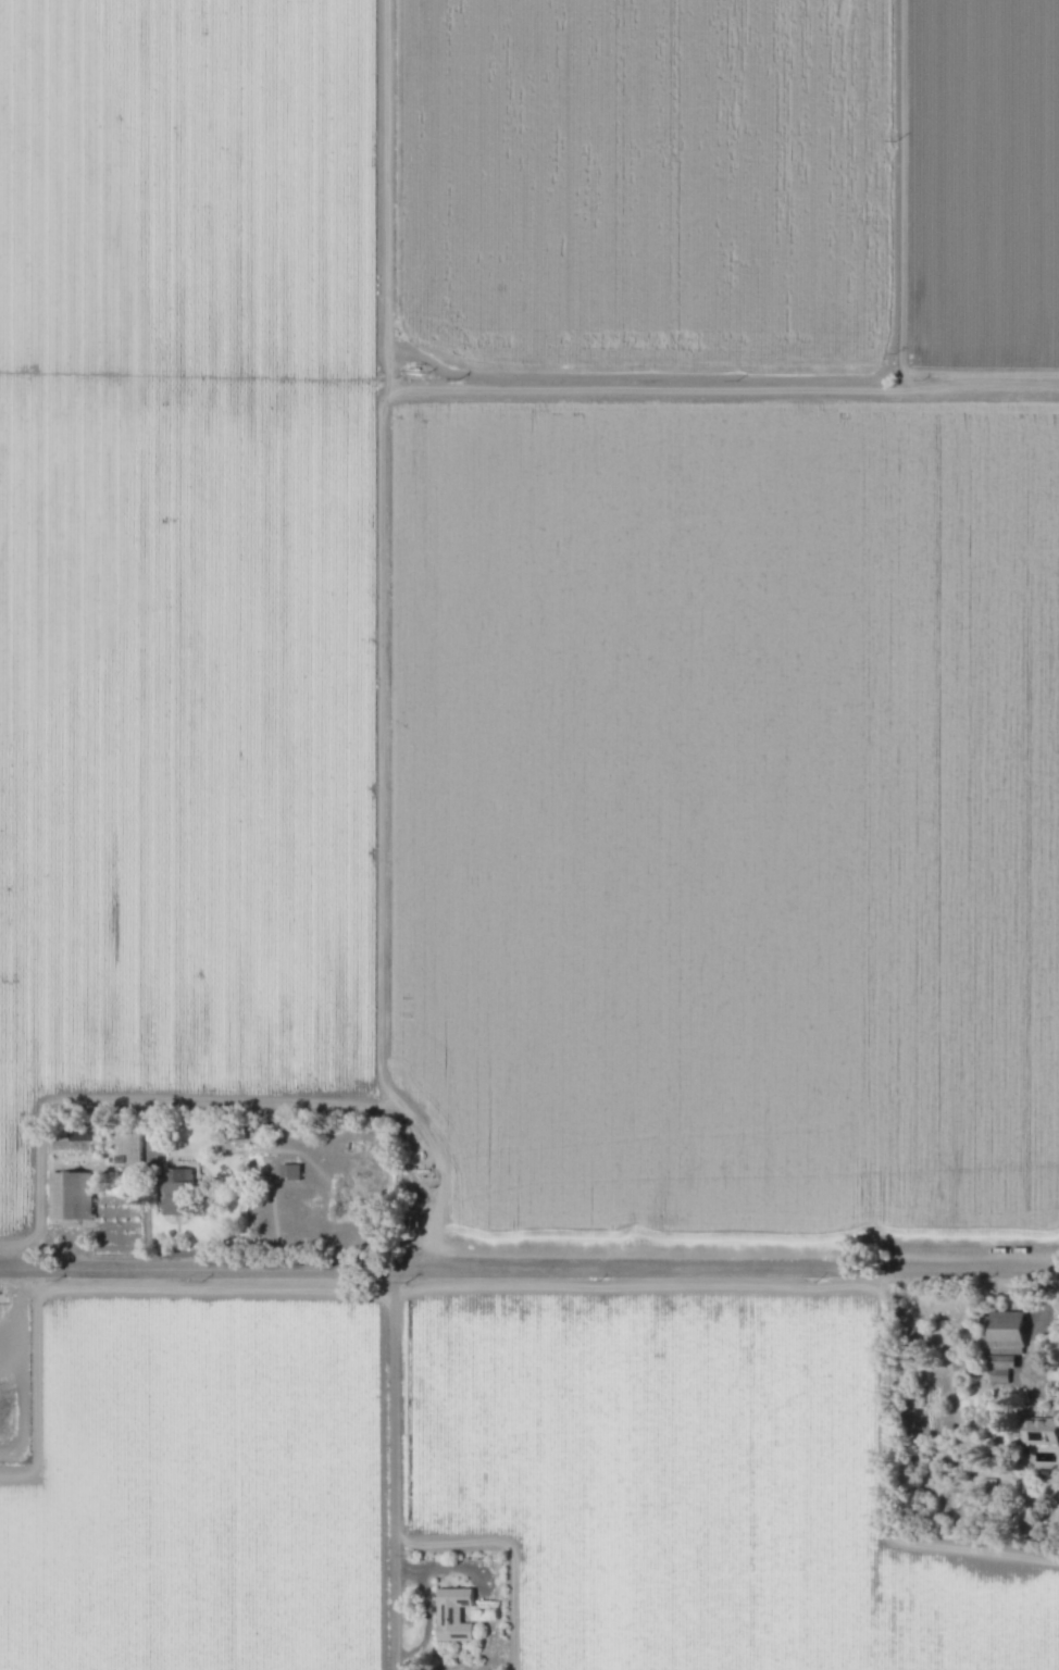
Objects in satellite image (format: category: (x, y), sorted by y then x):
road: (384, 650)
road: (132, 1102)
building: (132, 1146)
building: (285, 1171)
building: (179, 1193)
building: (72, 1196)
road: (528, 1276)
road: (1043, 1333)
building: (1000, 1376)
building: (1044, 1431)
road: (393, 1473)
building: (454, 1616)

